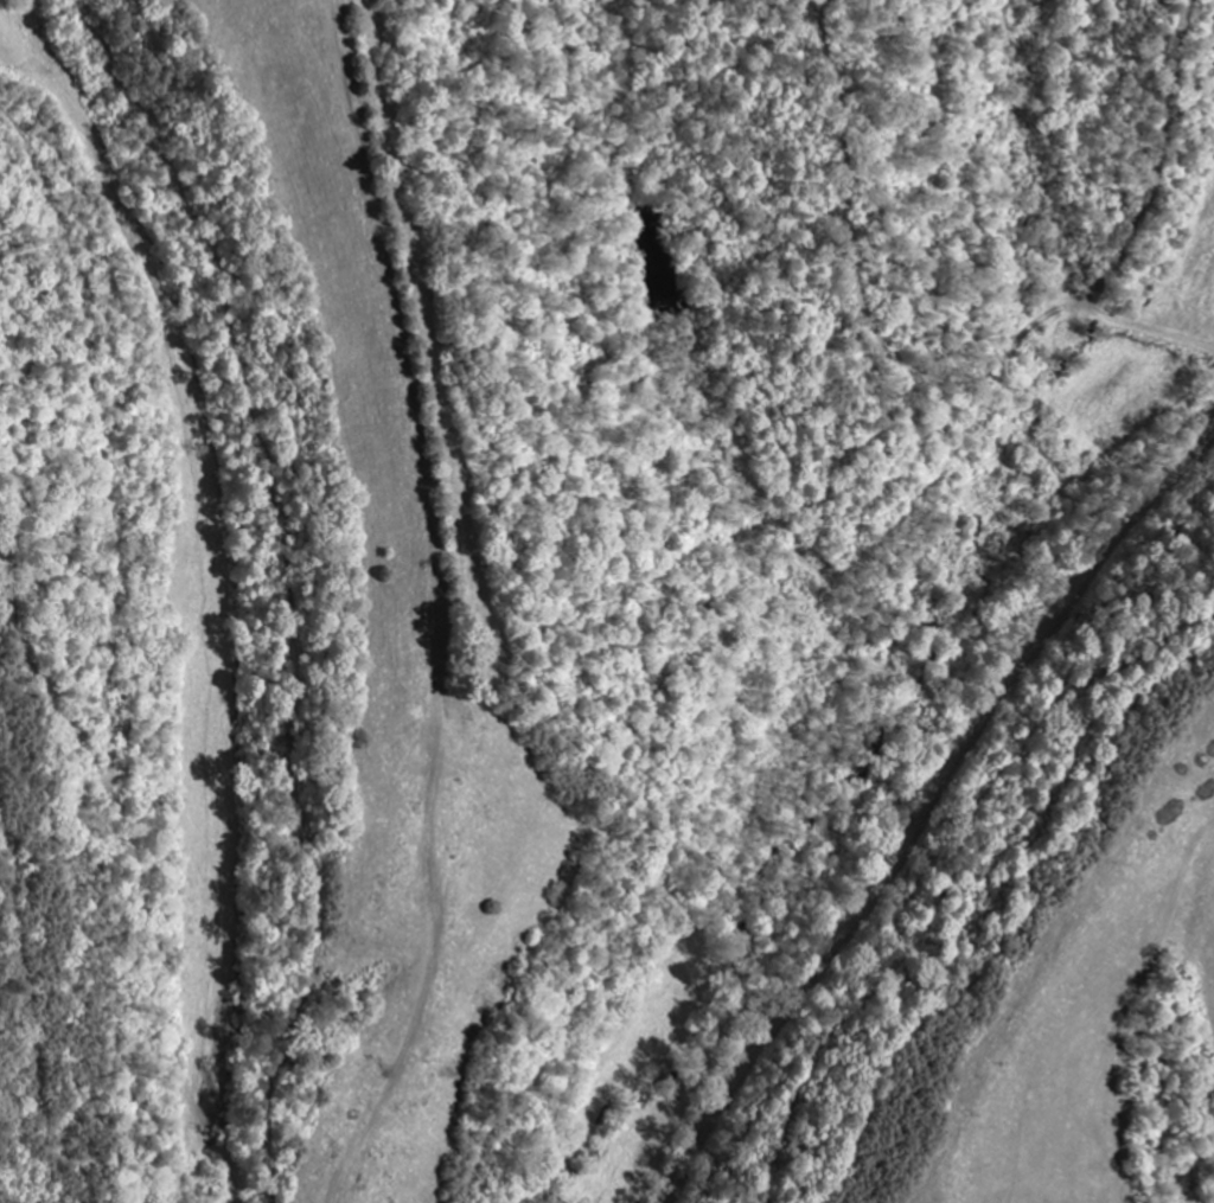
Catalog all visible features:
road: (1159, 333)
road: (931, 807)

